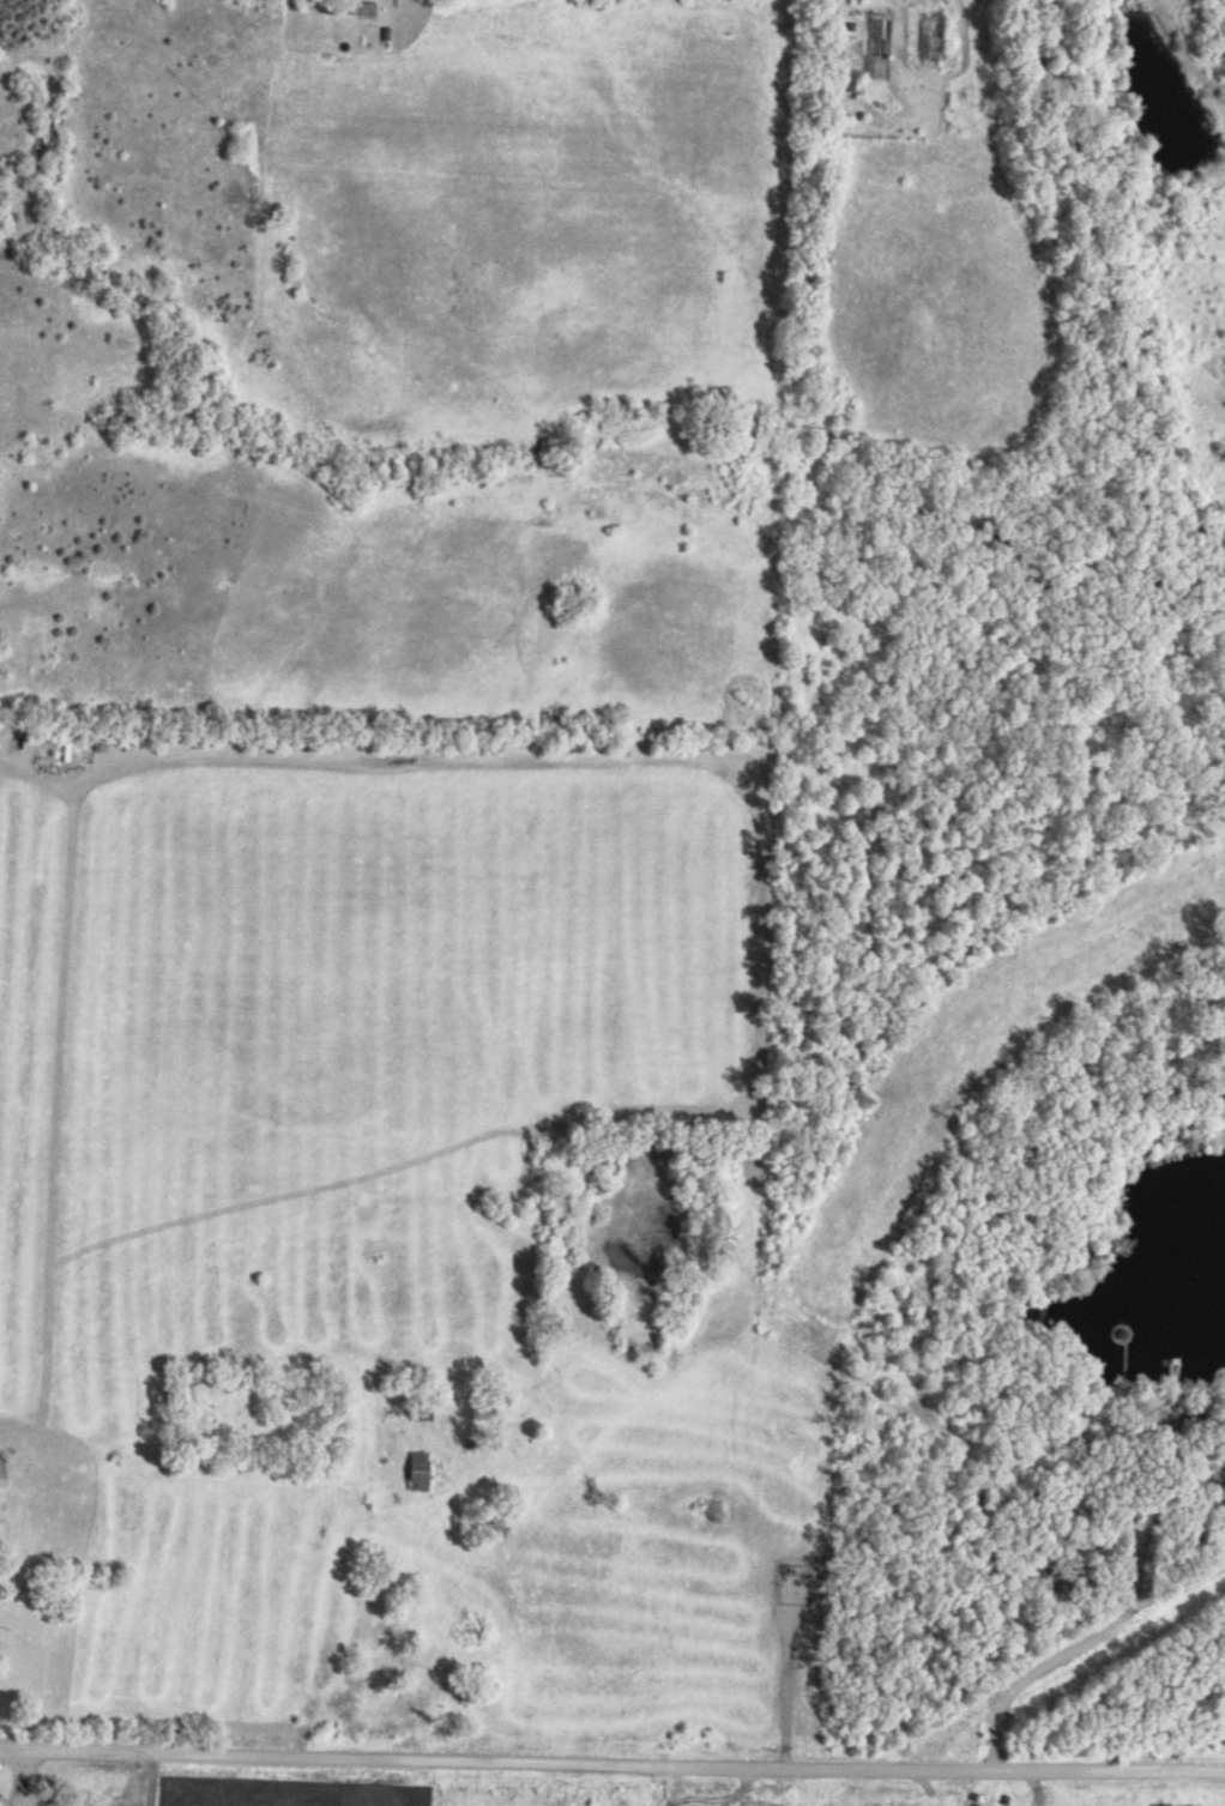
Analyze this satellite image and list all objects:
building: (1181, 1421)
road: (1079, 1648)
road: (611, 1765)
road: (24, 1778)

